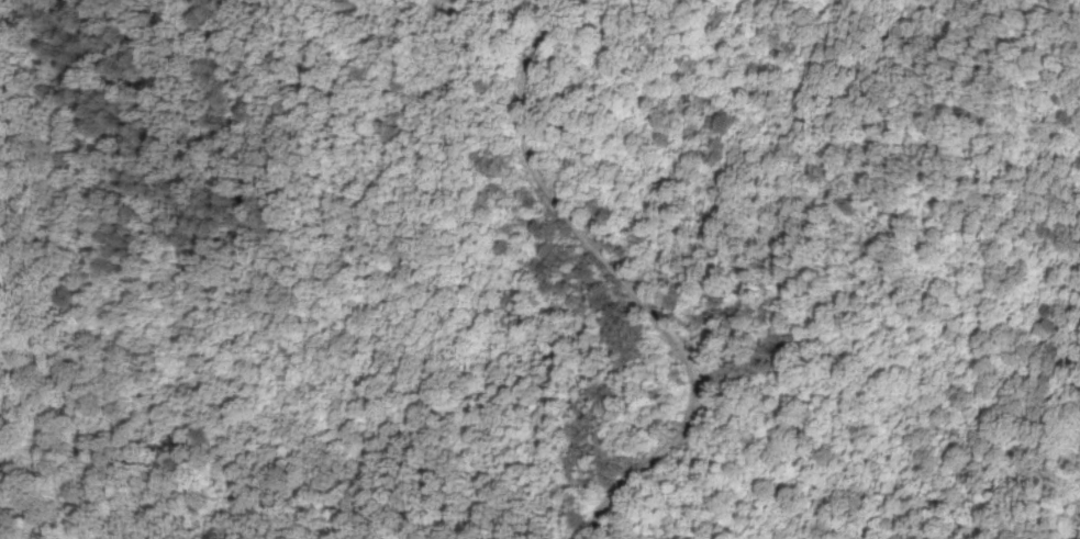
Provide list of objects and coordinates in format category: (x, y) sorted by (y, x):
road: (557, 260)

